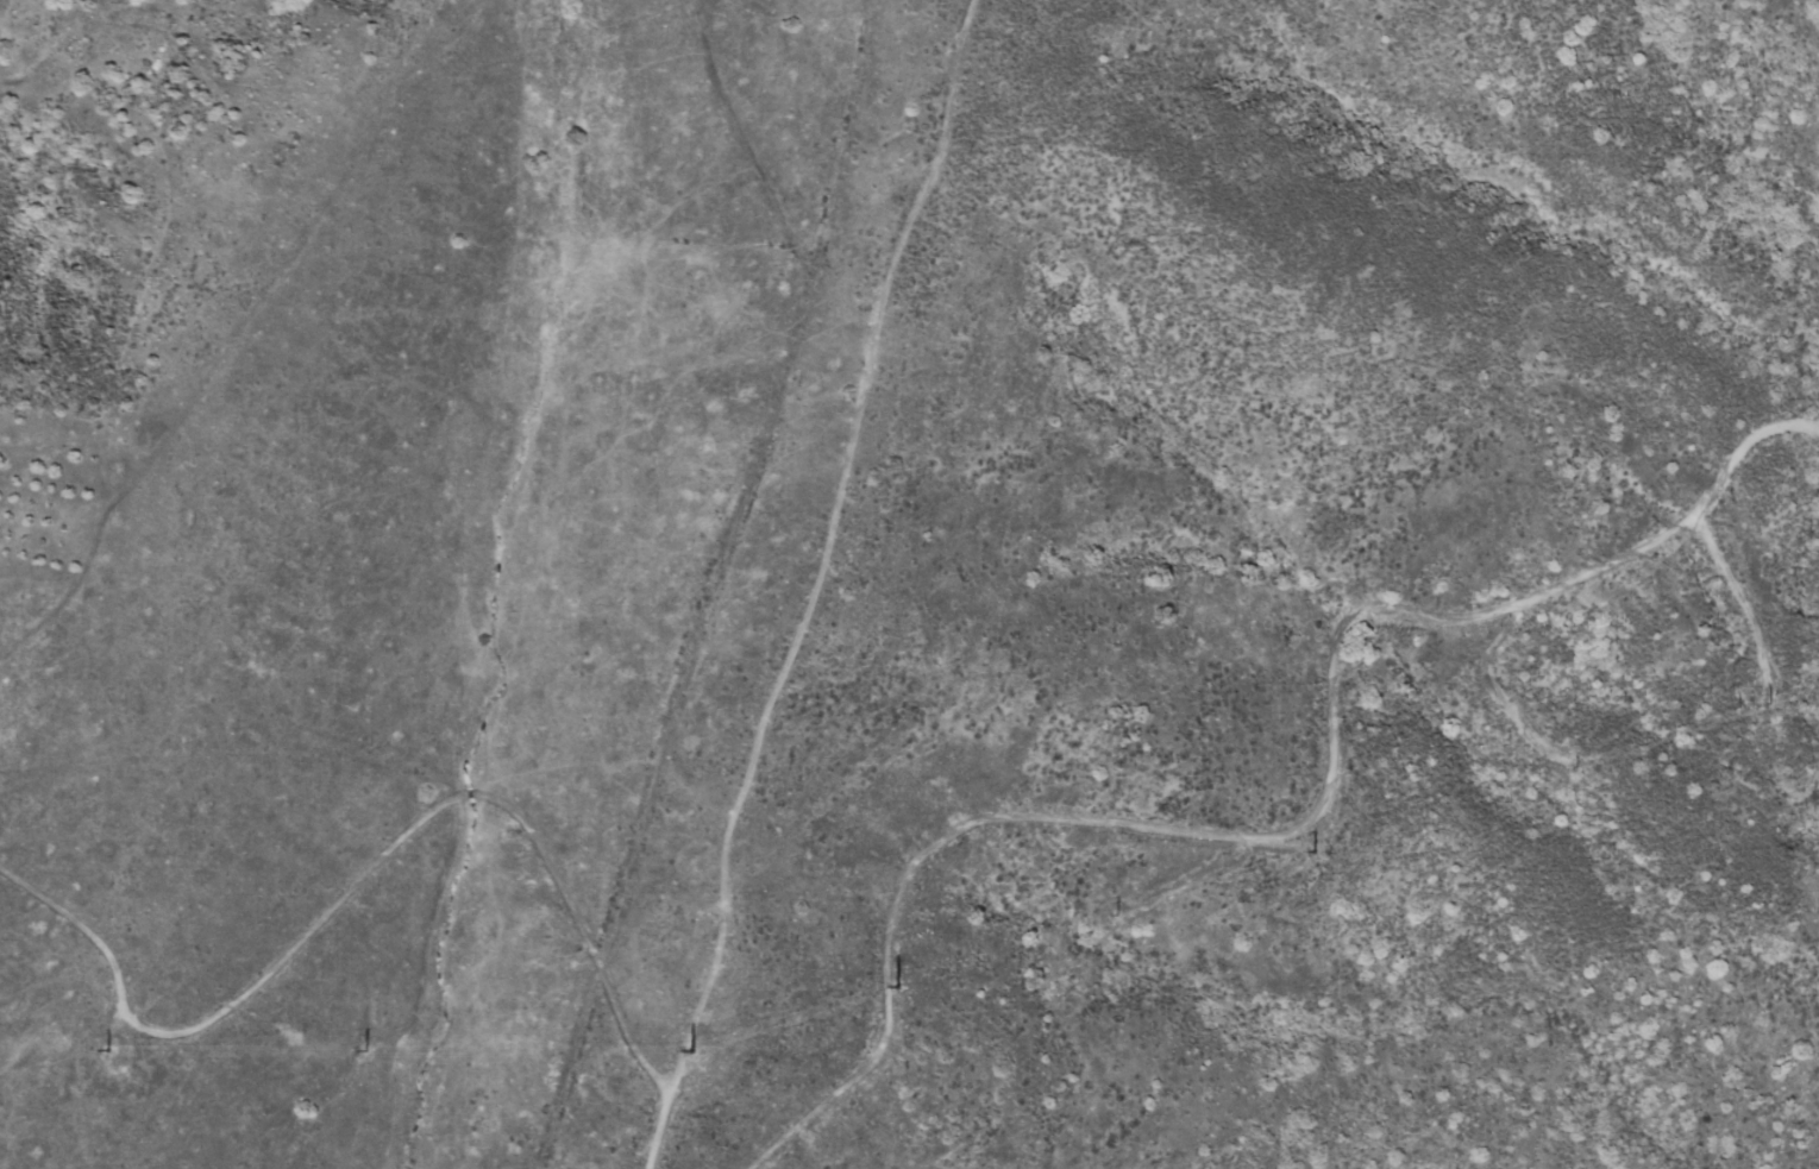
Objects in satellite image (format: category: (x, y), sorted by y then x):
road: (823, 552)
road: (710, 586)
road: (1298, 829)
road: (390, 849)

